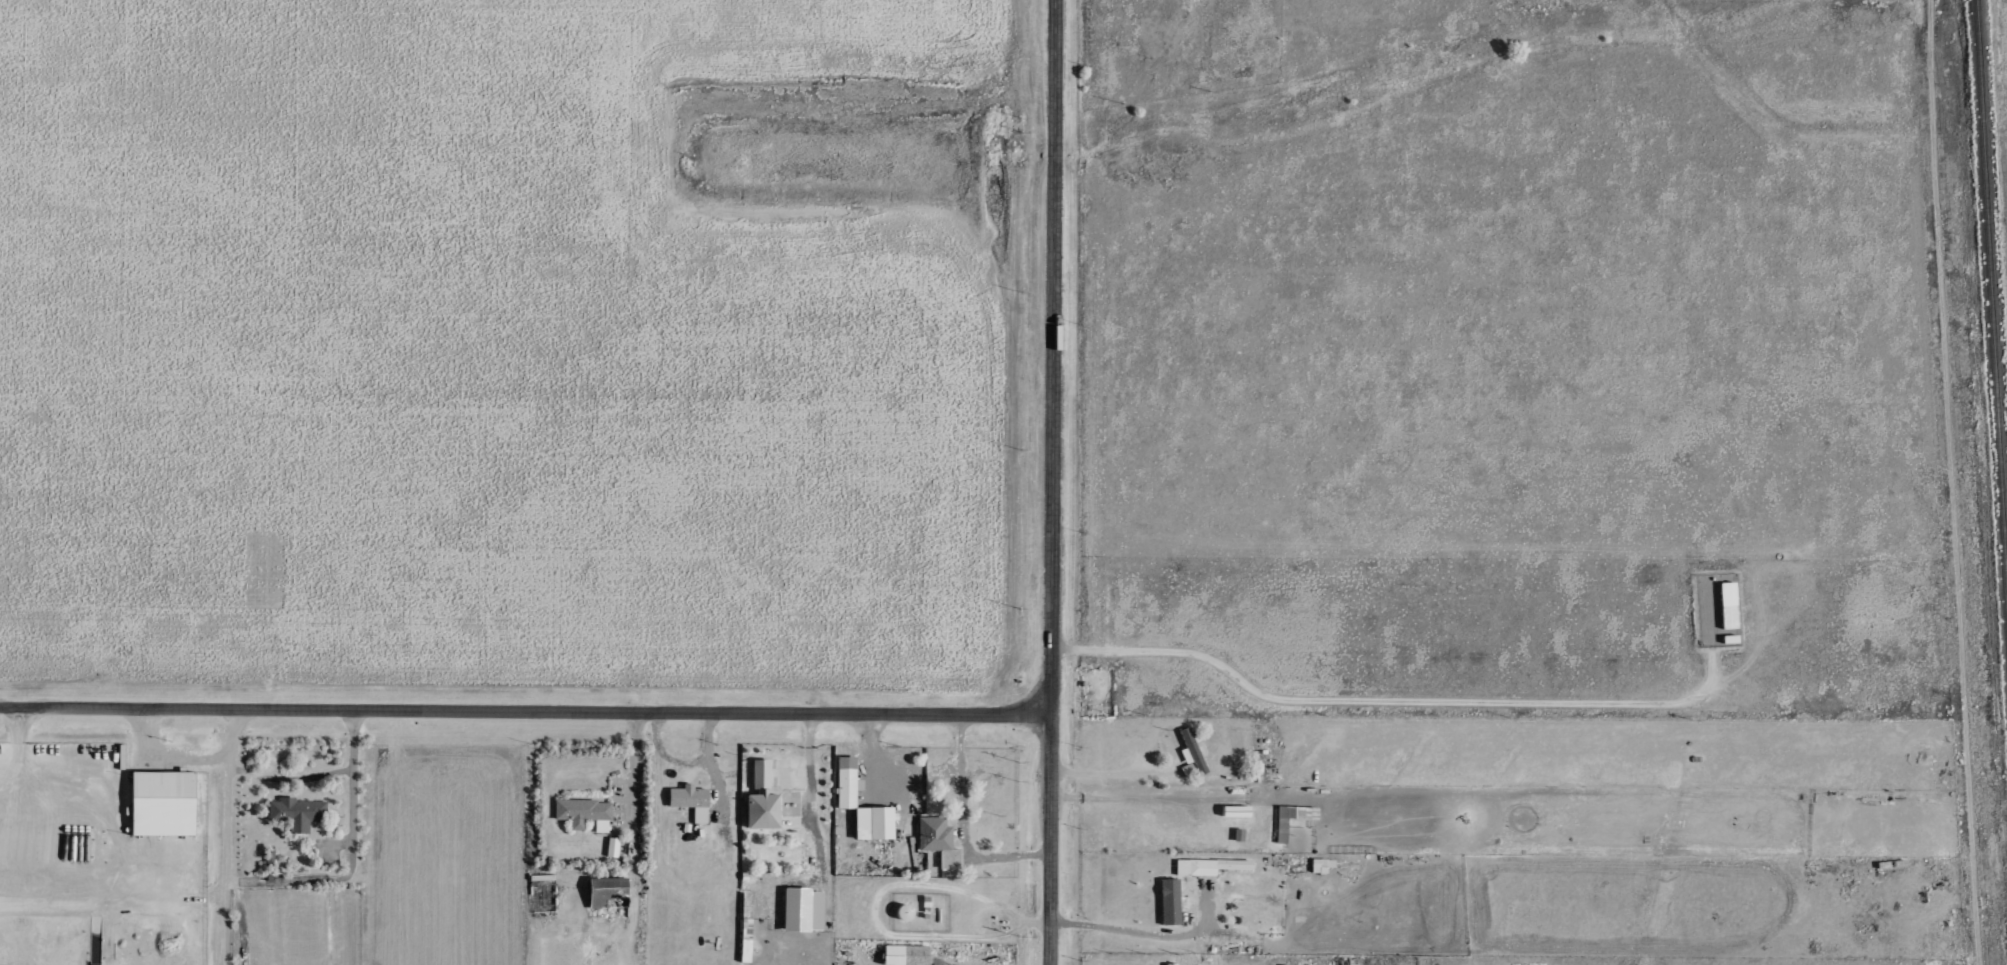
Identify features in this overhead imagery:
railway: (1992, 272)
road: (1053, 482)
building: (1730, 606)
road: (526, 705)
building: (1193, 756)
building: (848, 782)
building: (765, 799)
building: (692, 801)
building: (166, 804)
building: (298, 812)
building: (585, 814)
building: (884, 823)
building: (1283, 831)
building: (940, 841)
building: (613, 847)
building: (1324, 865)
building: (1205, 867)
building: (609, 890)
building: (1172, 902)
building: (800, 910)
building: (748, 940)
building: (908, 955)
building: (1172, 964)

